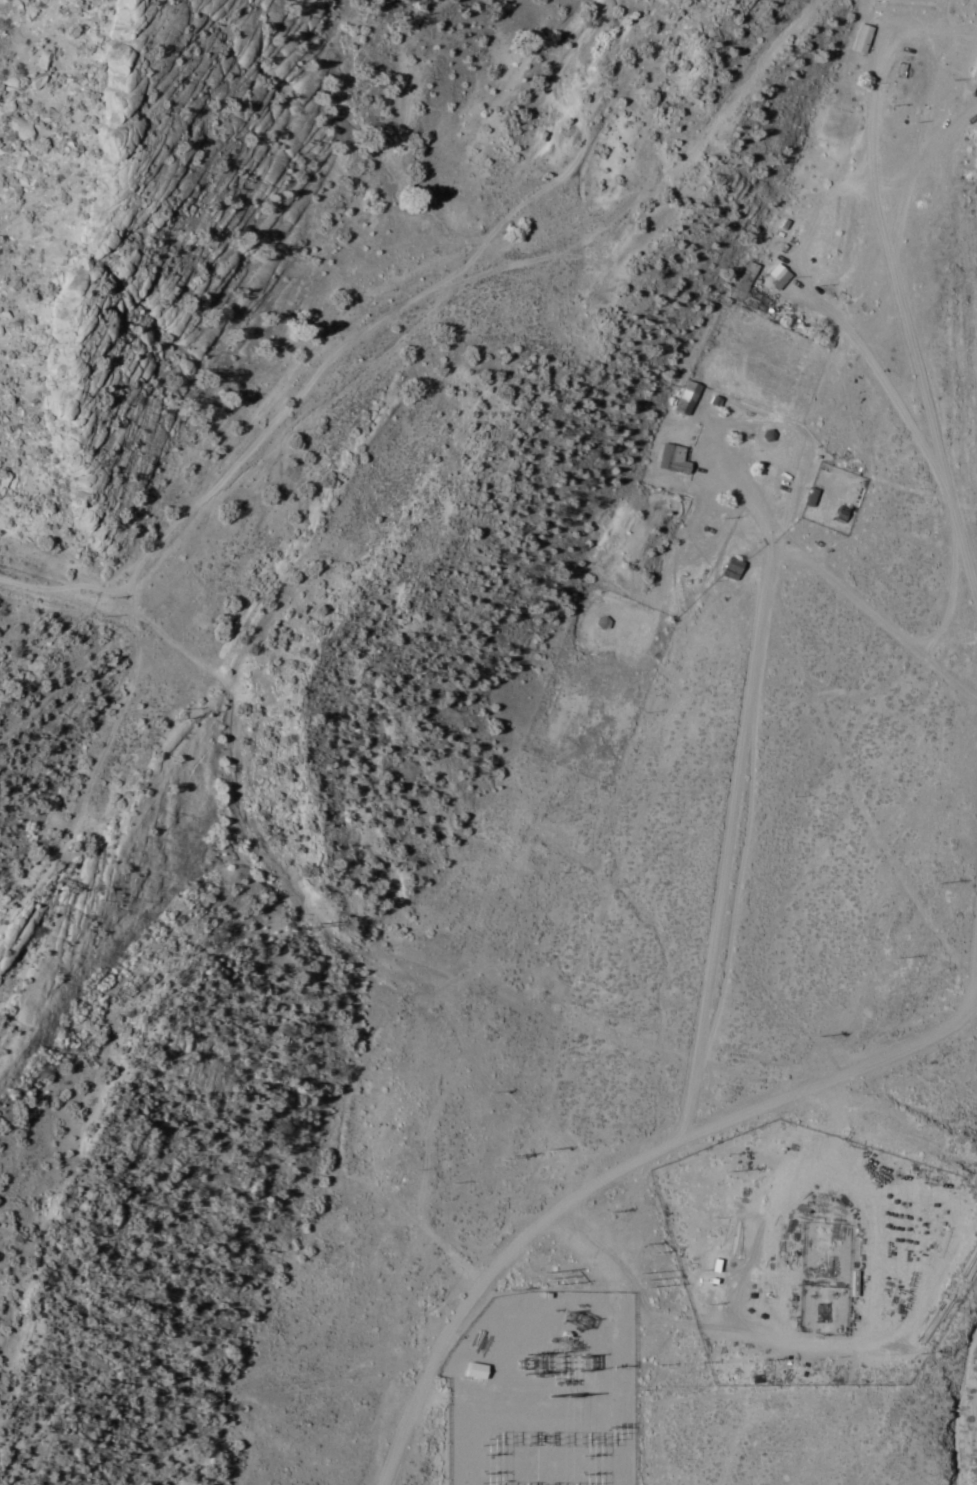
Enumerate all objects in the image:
road: (863, 2)
building: (865, 38)
building: (975, 73)
road: (370, 287)
building: (753, 292)
road: (862, 309)
building: (691, 396)
building: (679, 457)
building: (845, 514)
building: (736, 568)
road: (718, 712)
road: (956, 1009)
road: (615, 1174)
building: (476, 1371)
power substation: (547, 1391)

